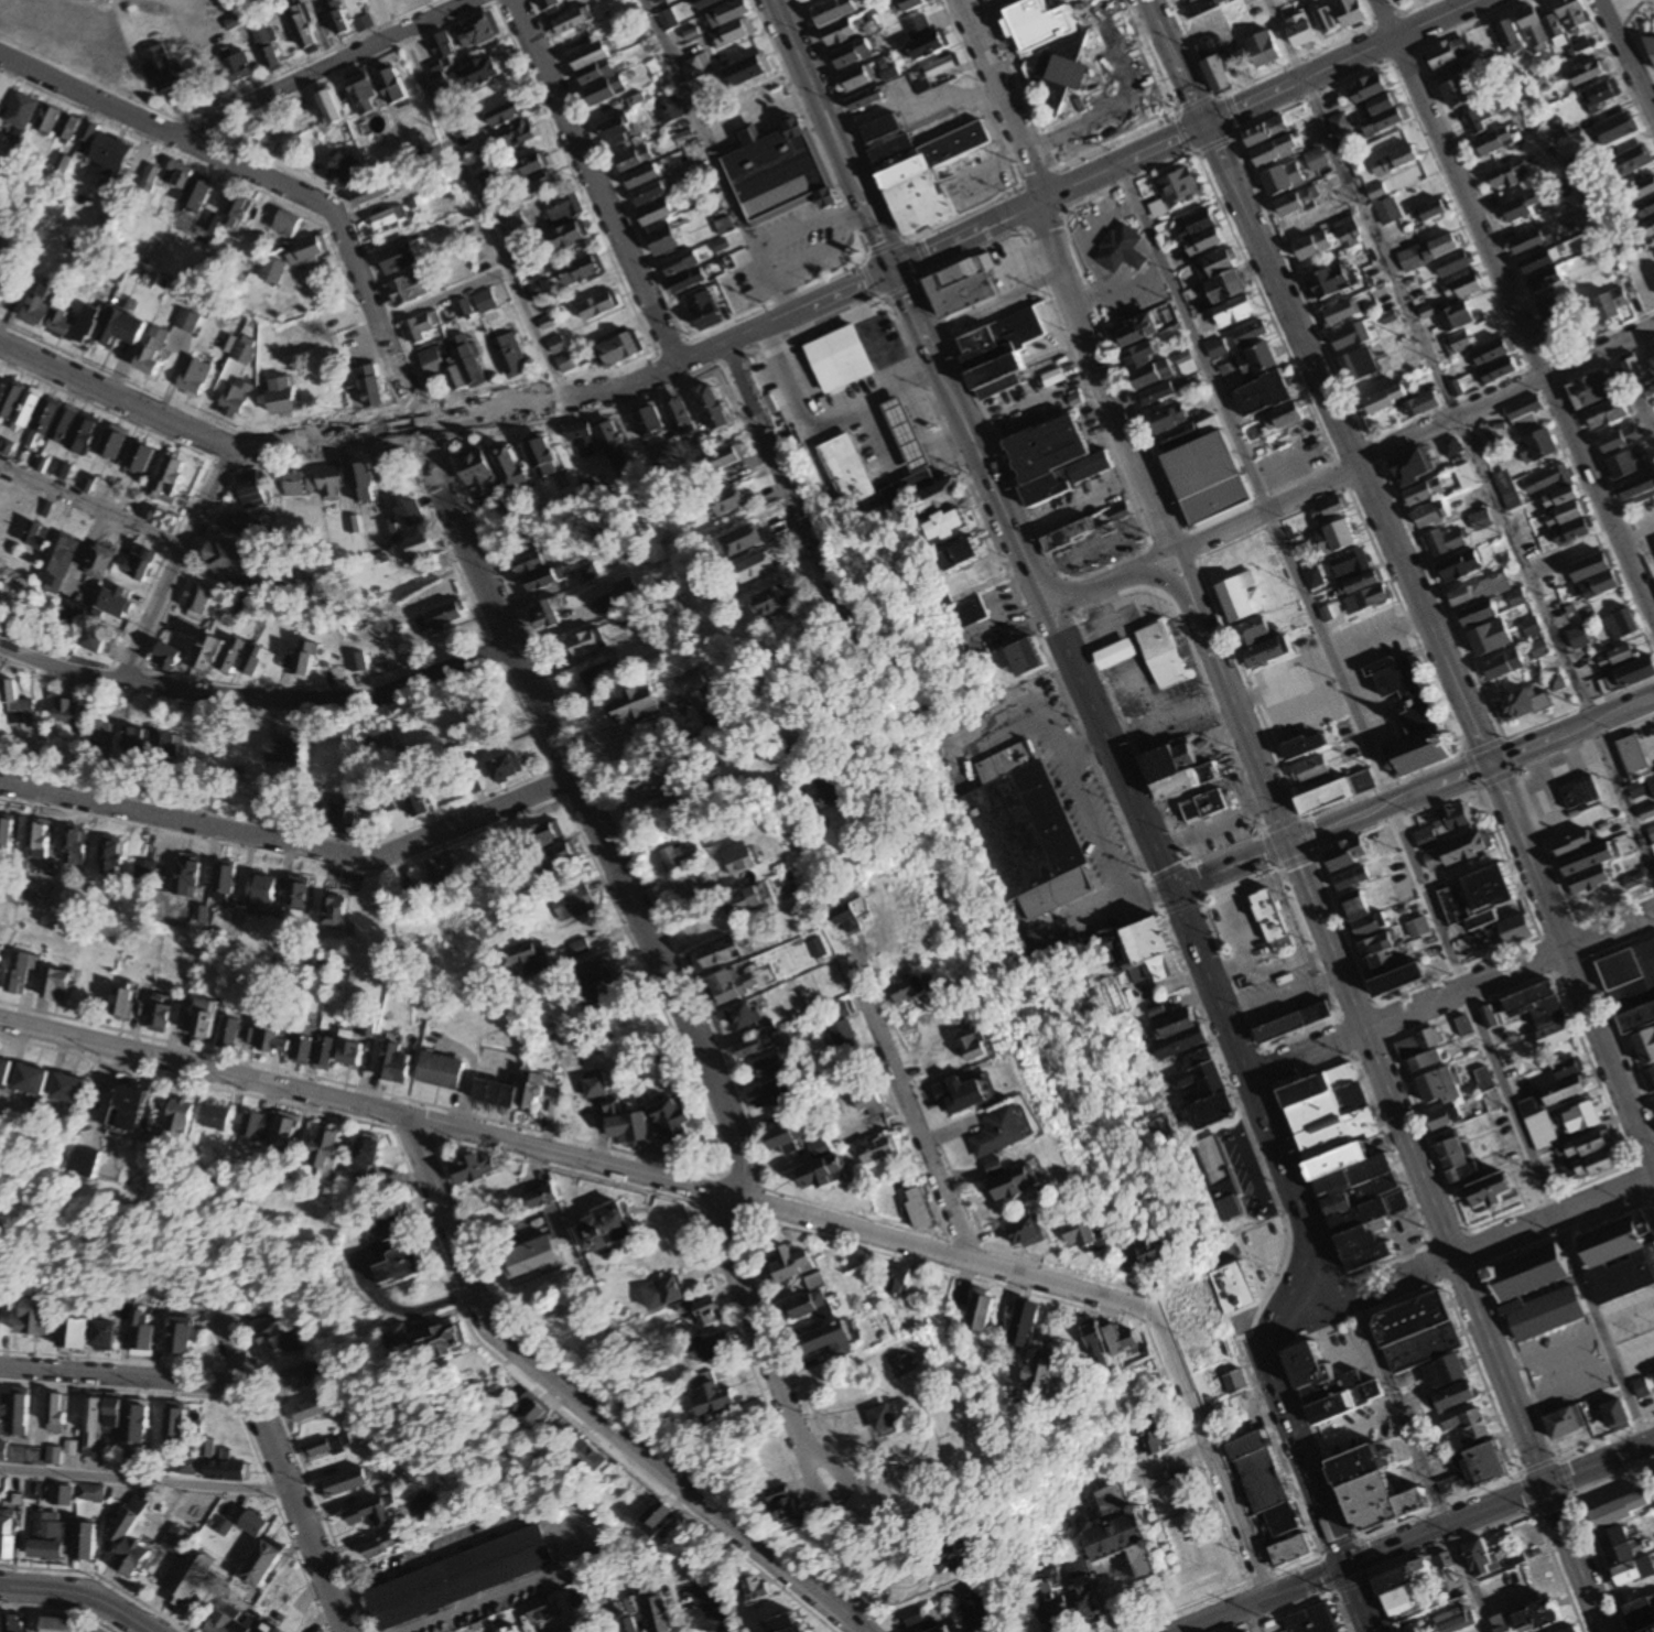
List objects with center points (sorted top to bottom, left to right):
road: (179, 1)
road: (1613, 3)
road: (1394, 6)
road: (1408, 6)
road: (1467, 24)
road: (1133, 28)
road: (1406, 29)
road: (1632, 44)
building: (1648, 45)
road: (1626, 57)
road: (1176, 62)
road: (1337, 62)
road: (324, 67)
road: (1619, 72)
road: (1006, 97)
road: (1131, 99)
traffic signals: (1204, 123)
road: (715, 159)
road: (1122, 159)
road: (270, 181)
building: (771, 181)
road: (595, 182)
road: (1459, 187)
road: (472, 198)
road: (966, 234)
road: (1505, 253)
traffic signals: (891, 270)
road: (441, 300)
road: (907, 303)
road: (1599, 349)
road: (1102, 376)
road: (446, 419)
building: (904, 433)
road: (1464, 437)
road: (1361, 463)
road: (787, 466)
building: (835, 468)
road: (1600, 497)
road: (91, 507)
road: (1637, 539)
road: (1150, 558)
road: (175, 563)
road: (1191, 581)
road: (1170, 582)
road: (1087, 592)
road: (1437, 642)
road: (257, 696)
building: (1153, 699)
building: (1407, 716)
traffic signals: (1489, 760)
road: (1414, 790)
building: (1578, 790)
building: (1202, 806)
road: (1390, 807)
road: (588, 815)
building: (1025, 815)
traffic signals: (1288, 841)
road: (291, 844)
traffic signals: (1175, 886)
building: (1271, 920)
road: (1450, 995)
road: (204, 1074)
road: (1248, 1083)
road: (1402, 1124)
road: (912, 1135)
road: (1248, 1163)
road: (785, 1213)
road: (1264, 1241)
road: (1471, 1250)
road: (1576, 1337)
road: (759, 1344)
road: (123, 1376)
road: (1583, 1380)
road: (588, 1409)
building: (880, 1418)
park: (904, 1429)
road: (941, 1449)
road: (916, 1457)
road: (1210, 1460)
road: (1423, 1463)
road: (1150, 1466)
road: (282, 1474)
road: (144, 1480)
traffic signals: (1547, 1487)
road: (1498, 1506)
road: (858, 1511)
building: (1122, 1532)
road: (558, 1541)
traffic signals: (1342, 1570)
building: (190, 1575)
building: (458, 1578)
road: (78, 1591)
road: (1265, 1600)
road: (1354, 1601)
road: (1252, 1620)

